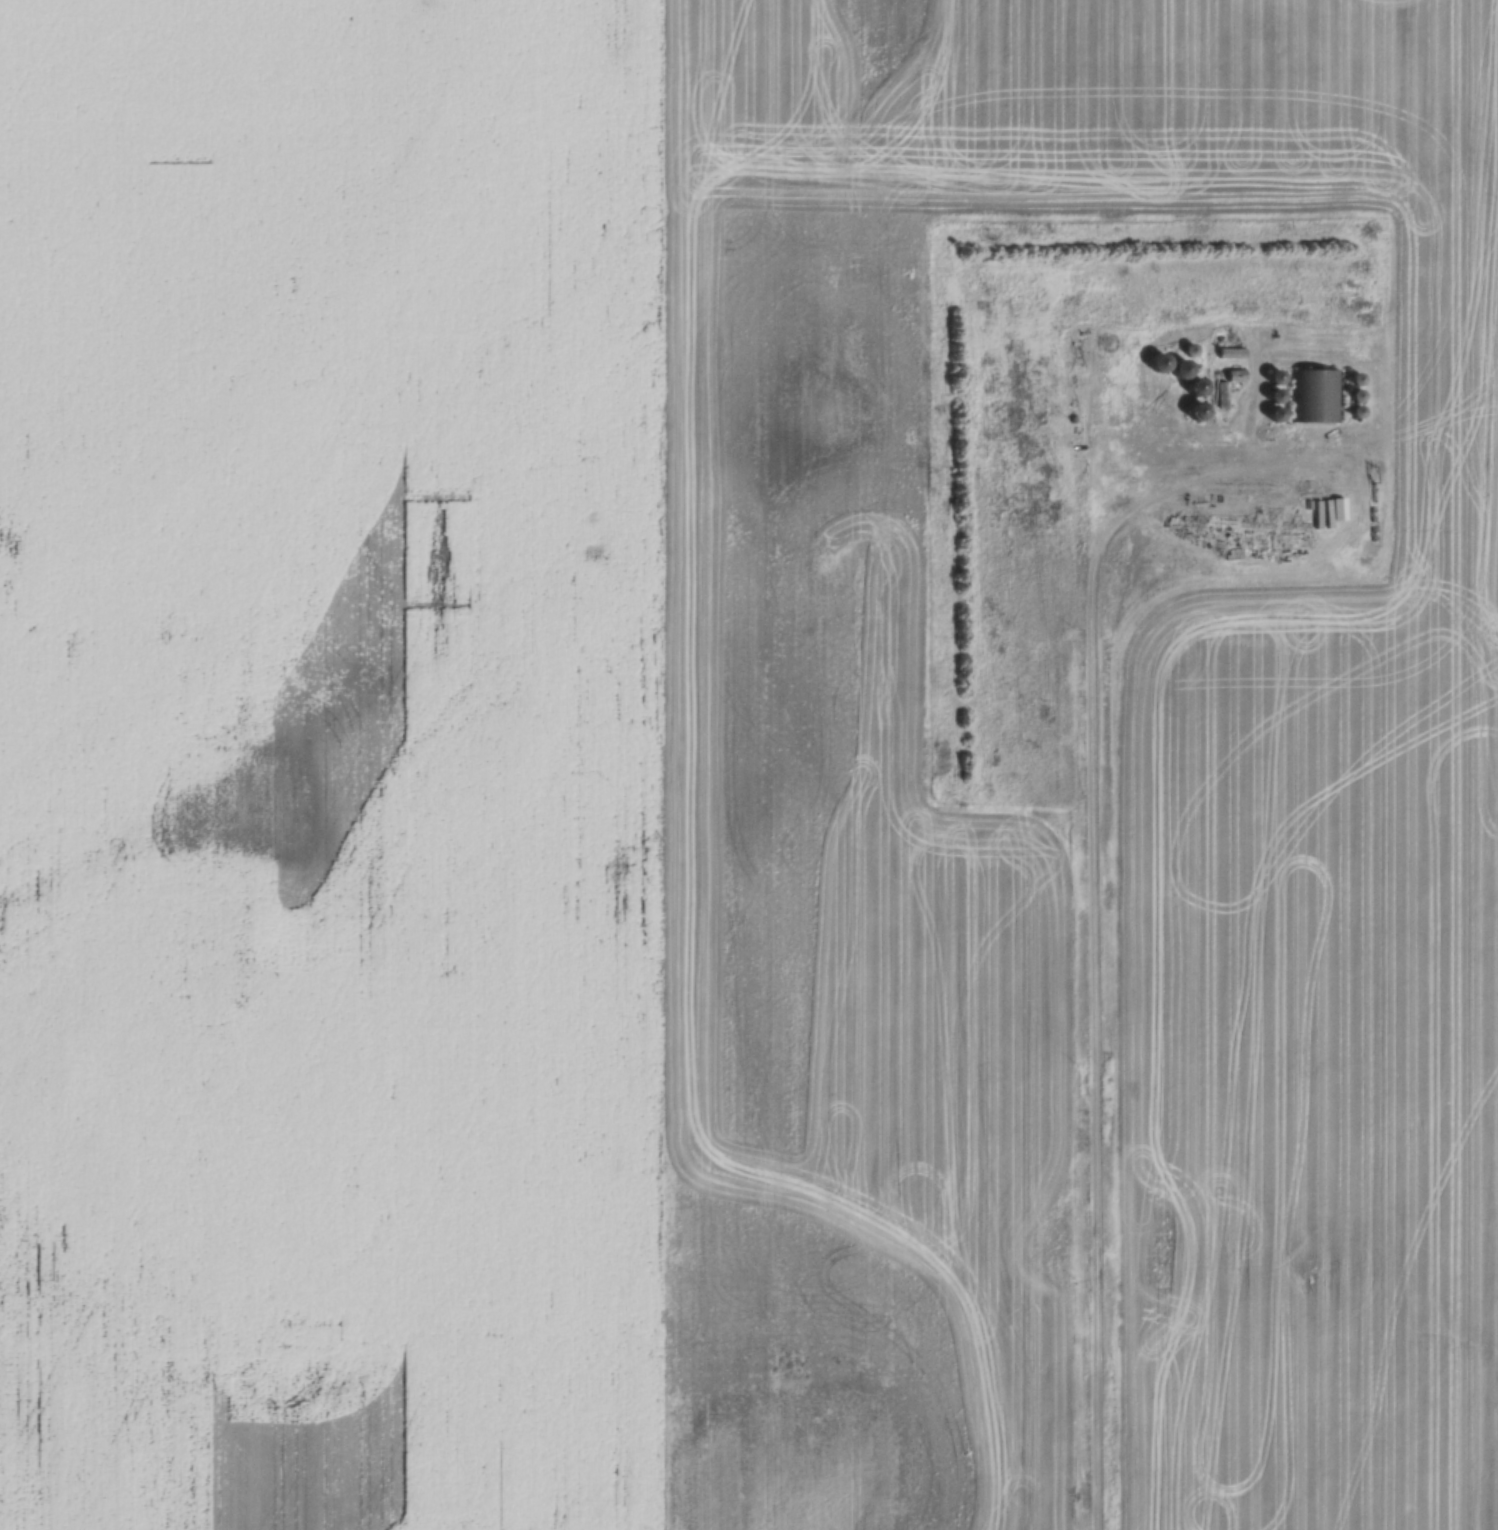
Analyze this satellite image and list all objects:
building: (1320, 513)

